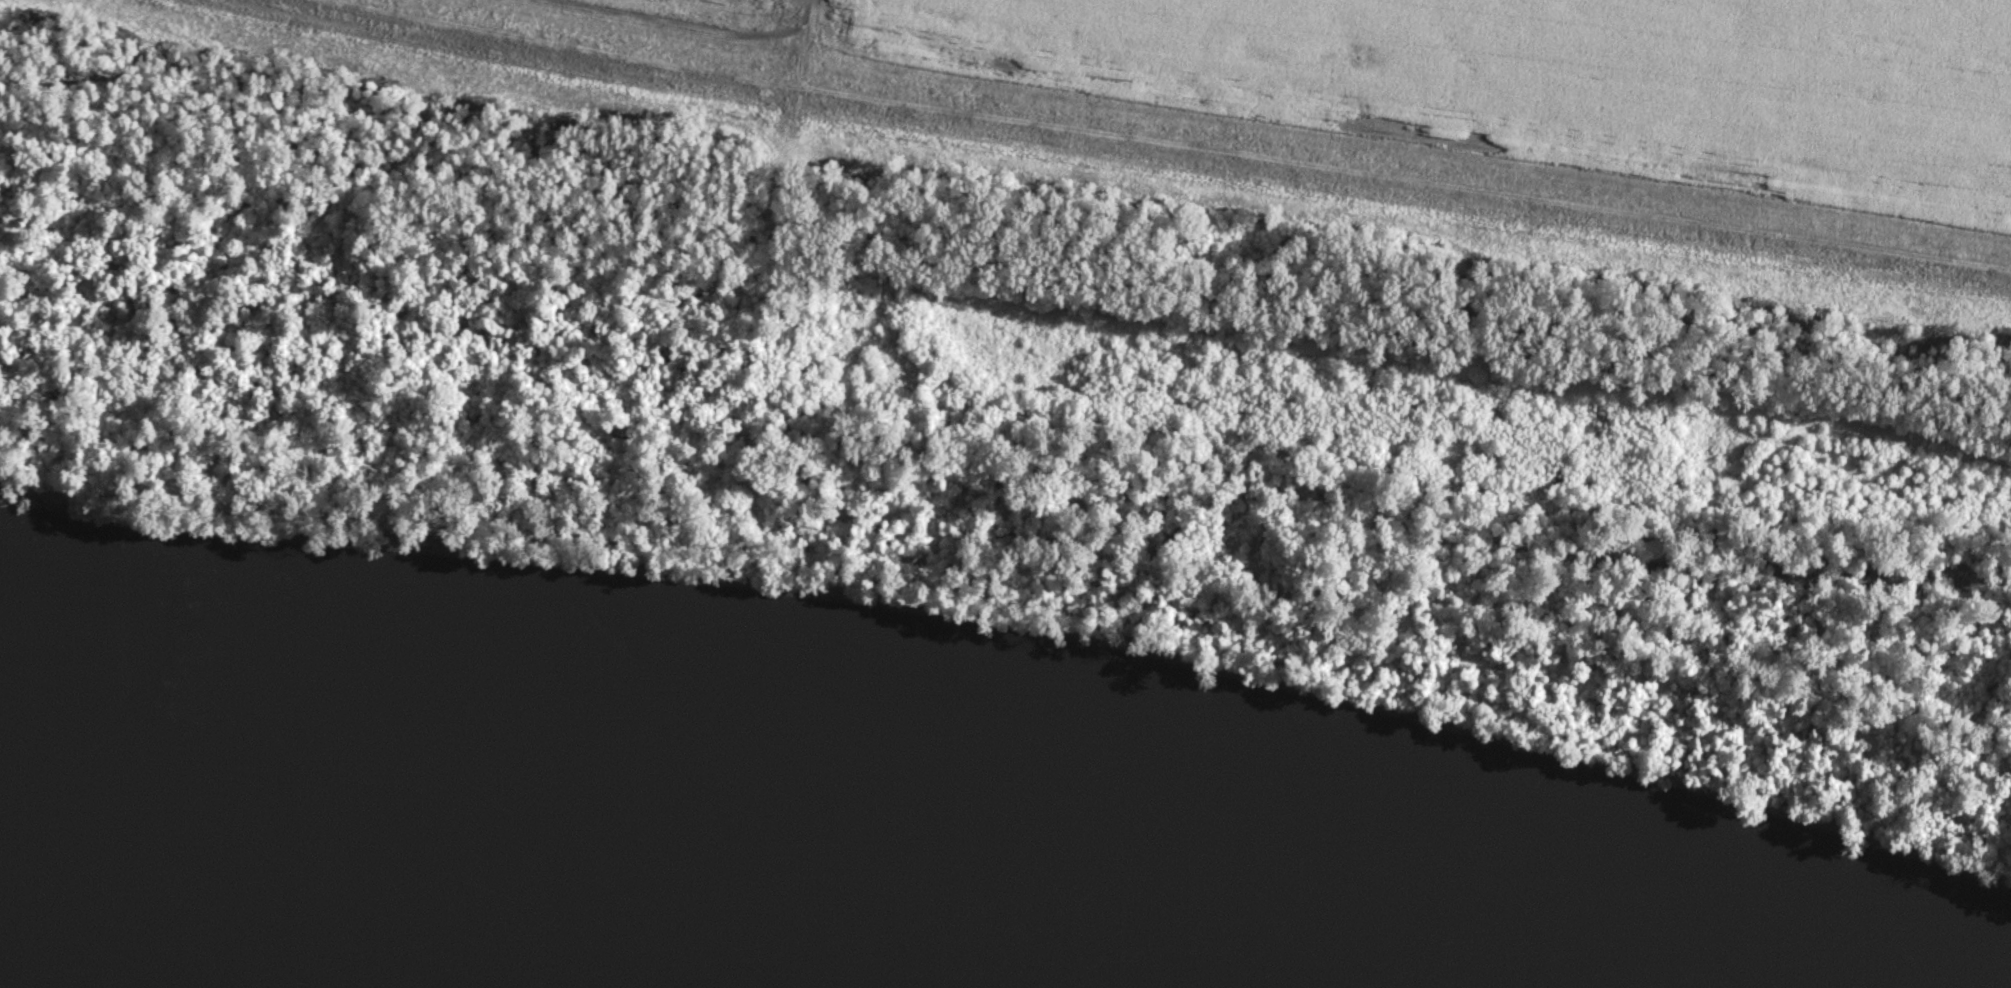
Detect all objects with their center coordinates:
crop: (714, 15)
crop: (1544, 80)

